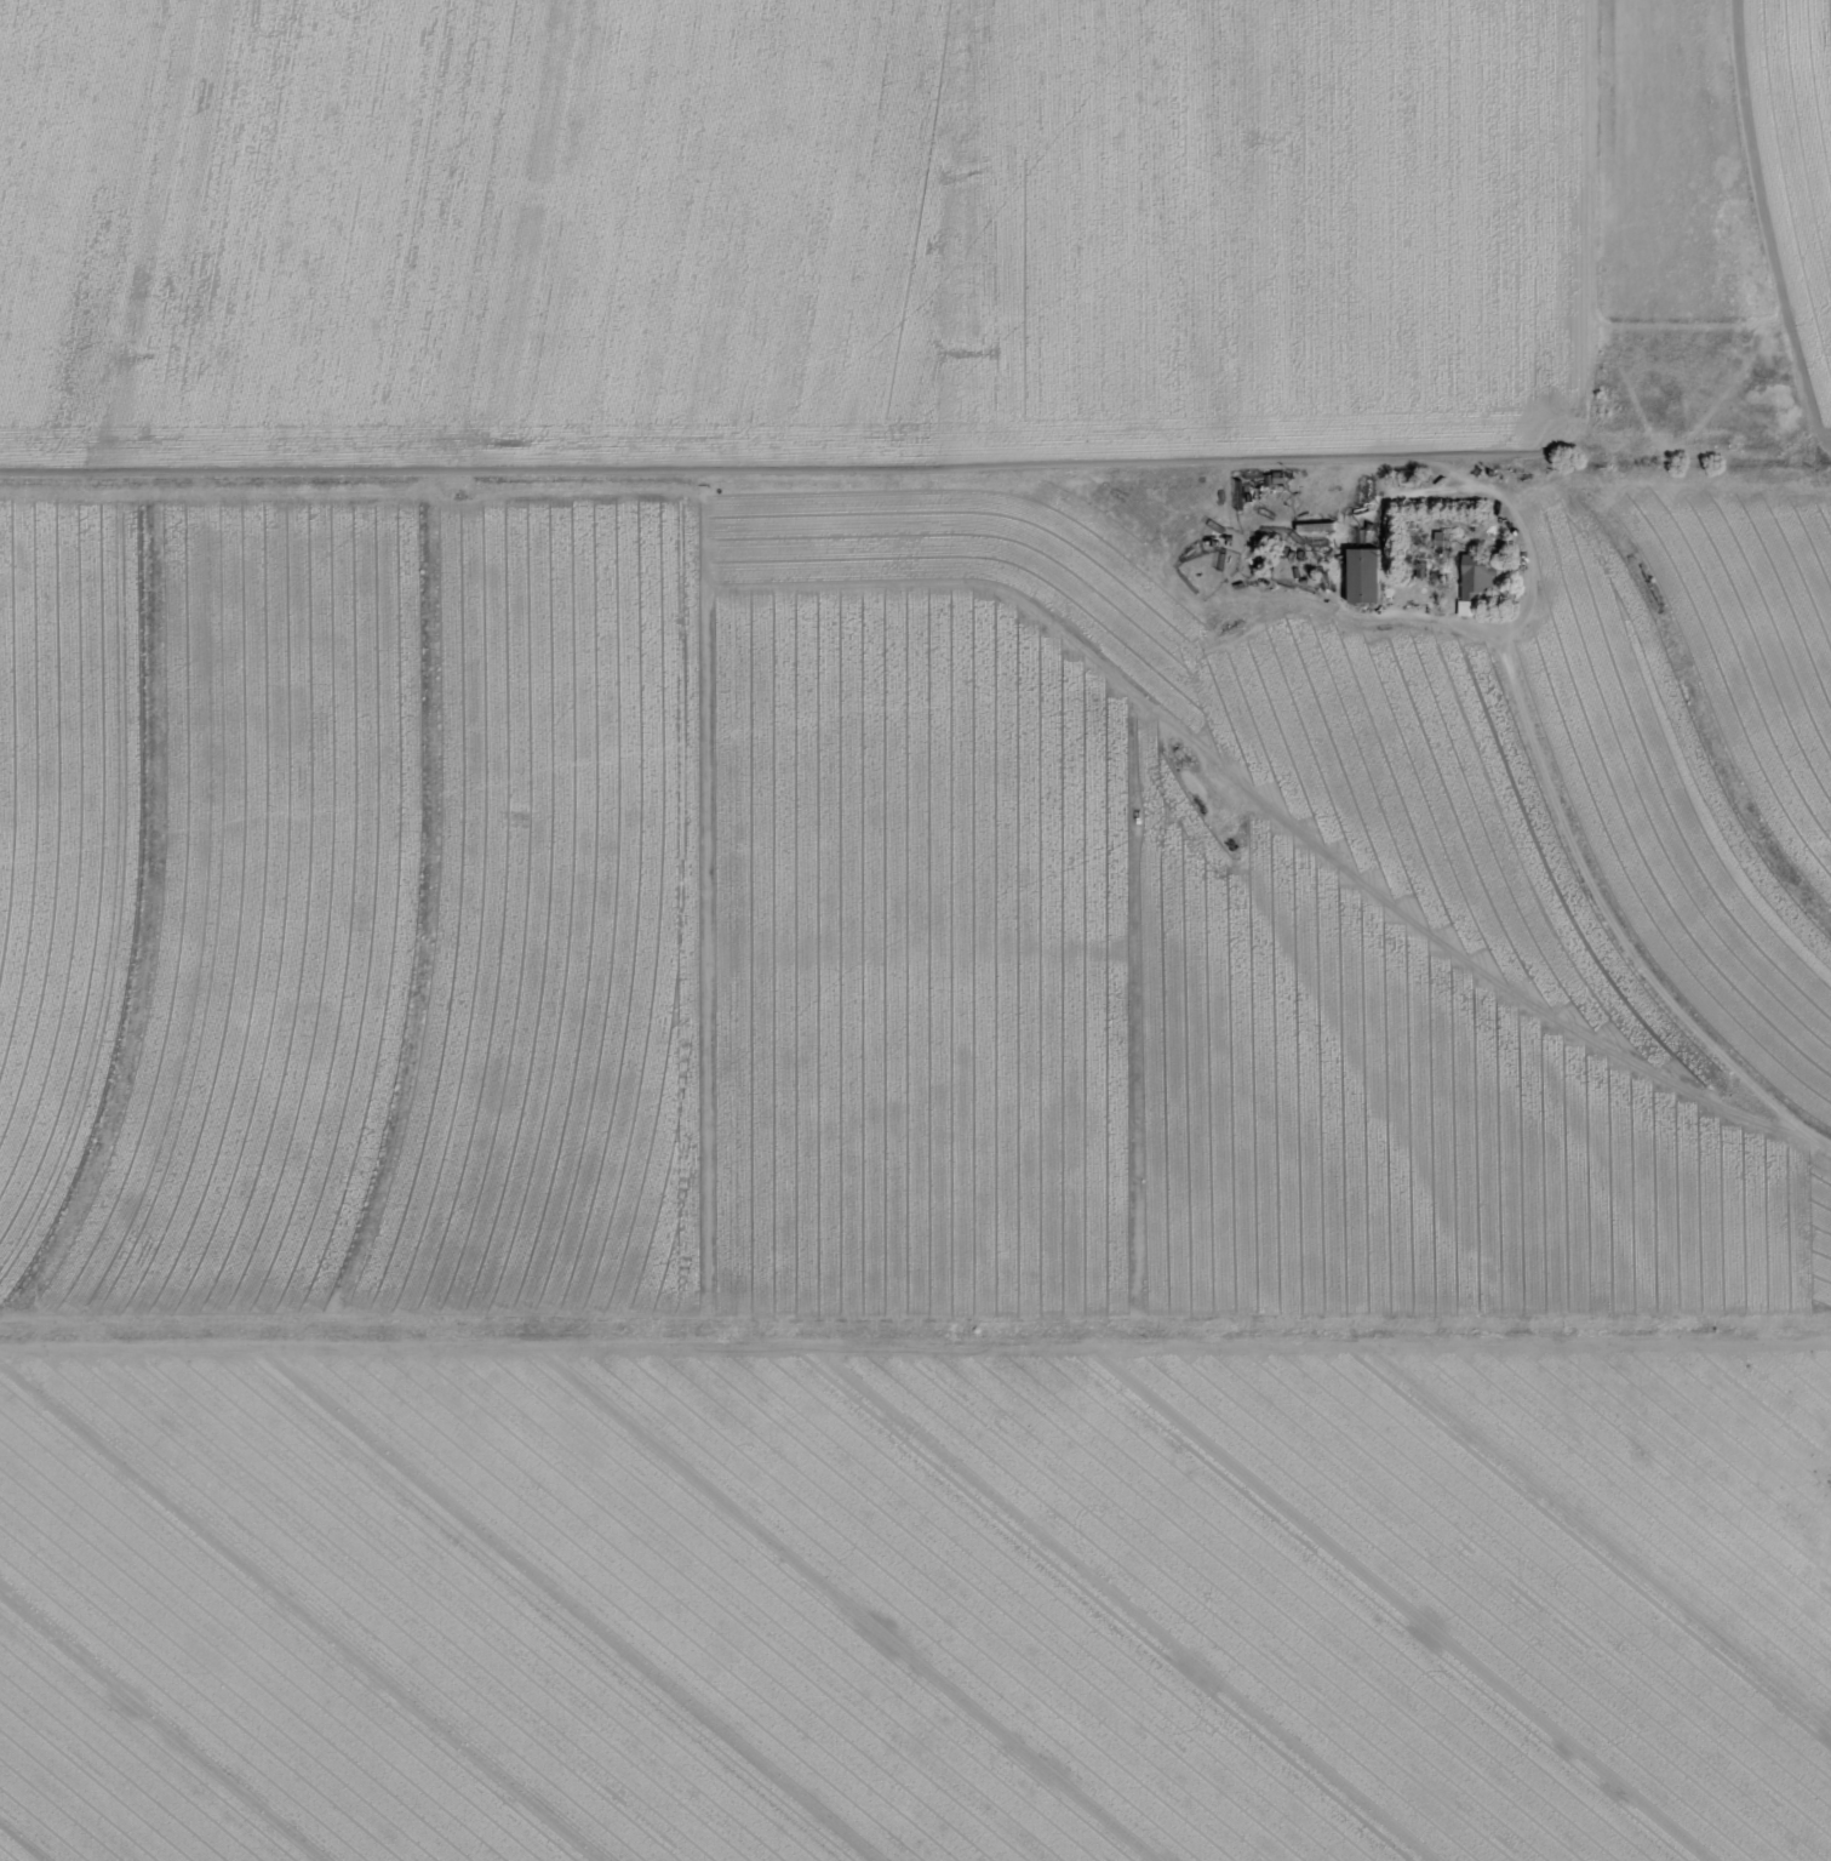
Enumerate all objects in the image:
building: (1360, 576)
road: (1558, 803)

